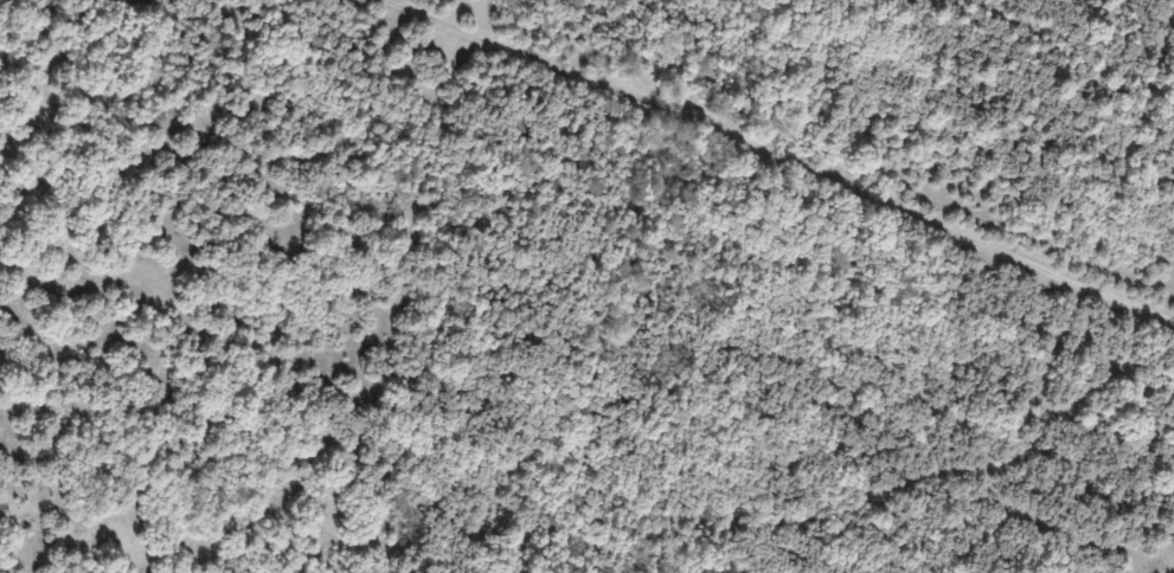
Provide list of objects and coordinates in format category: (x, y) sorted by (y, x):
park: (586, 286)

